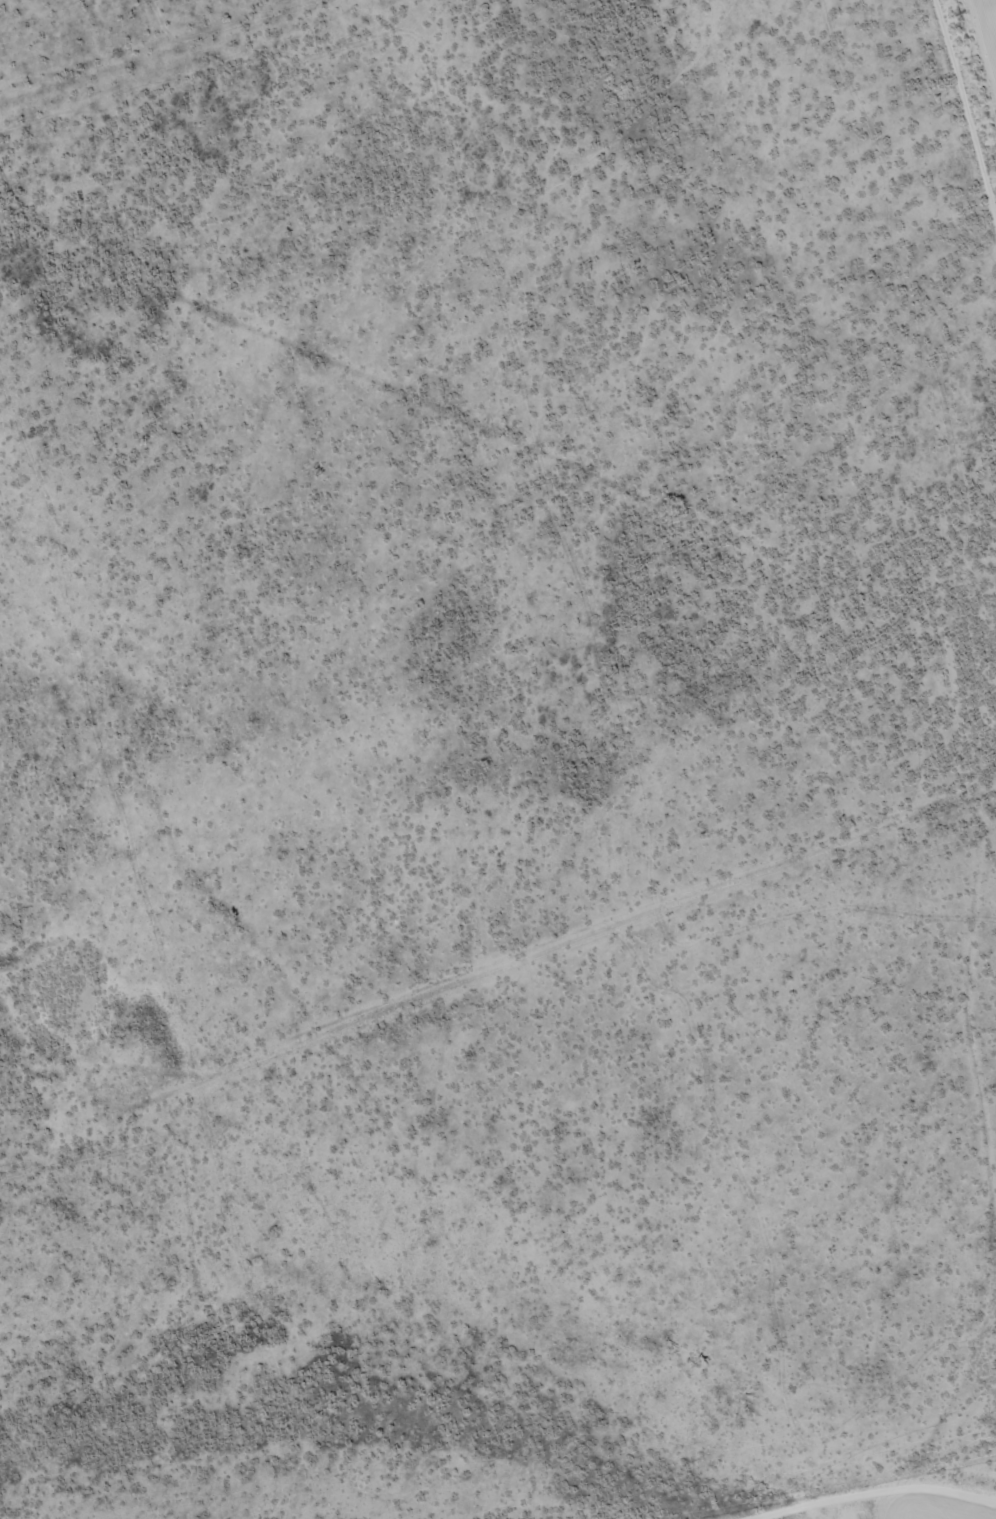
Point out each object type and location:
river: (331, 1446)

